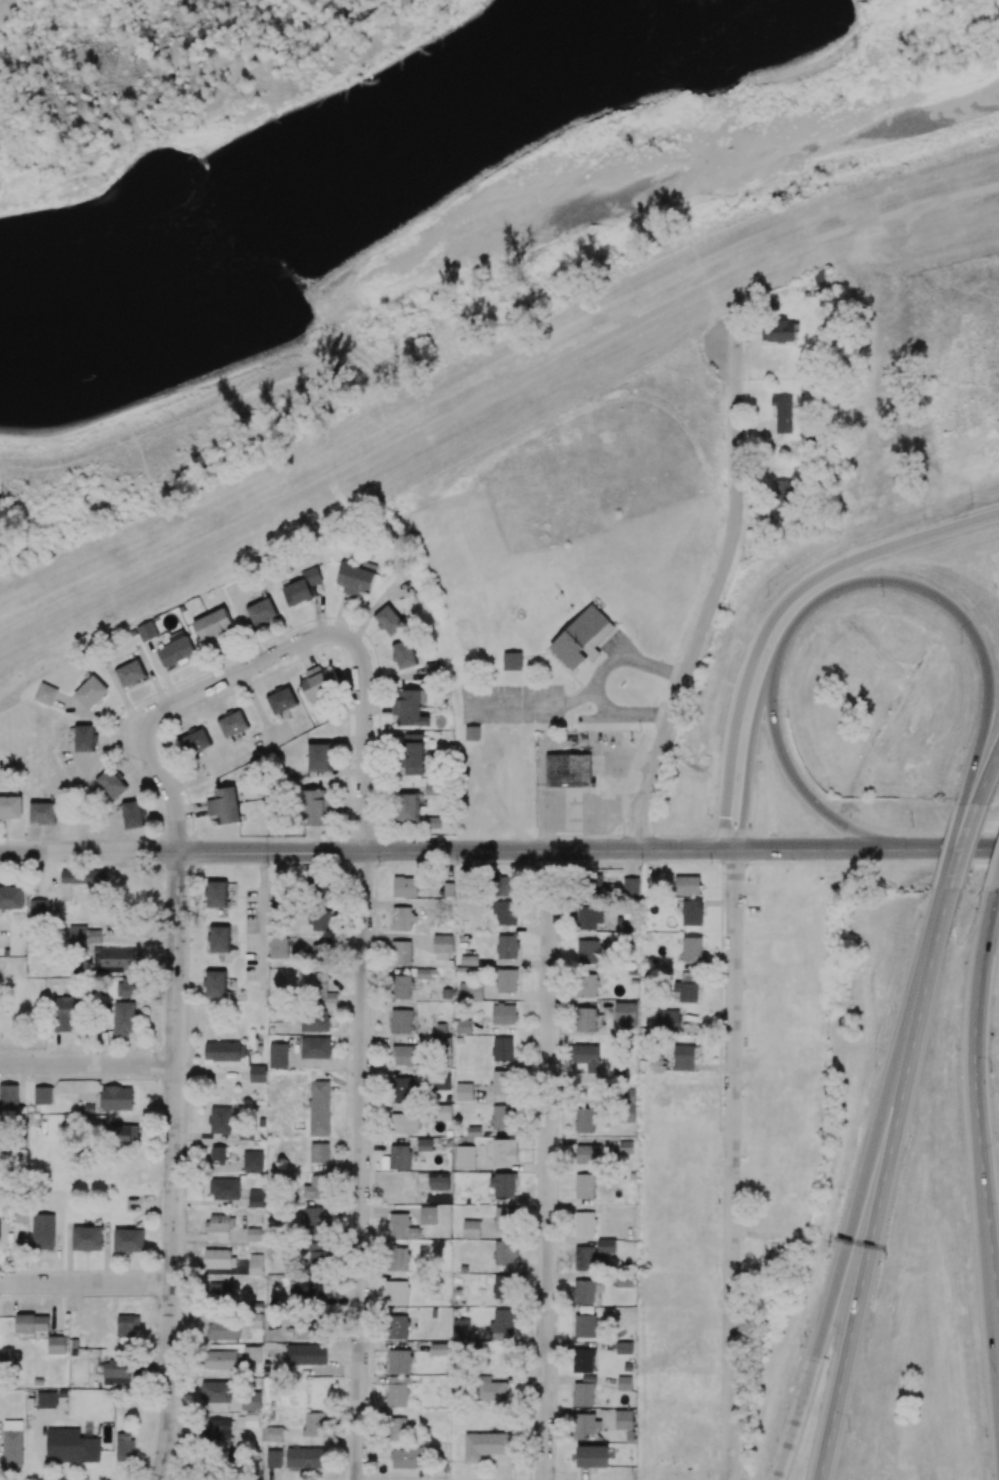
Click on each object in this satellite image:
river: (349, 196)
road: (710, 320)
road: (324, 375)
road: (493, 397)
street lamp: (970, 502)
building: (356, 578)
building: (301, 587)
street lamp: (768, 594)
street lamp: (882, 596)
road: (713, 597)
building: (261, 611)
building: (389, 620)
building: (212, 624)
building: (147, 631)
building: (582, 638)
street lamp: (960, 644)
building: (176, 649)
road: (279, 653)
building: (404, 654)
building: (512, 661)
building: (131, 672)
building: (319, 682)
building: (90, 692)
building: (45, 694)
building: (281, 700)
building: (409, 707)
street lamp: (788, 715)
building: (233, 723)
building: (472, 733)
building: (85, 738)
building: (196, 741)
street lamp: (959, 744)
building: (412, 754)
building: (319, 757)
road: (987, 775)
building: (111, 782)
building: (224, 805)
building: (10, 807)
building: (314, 807)
building: (407, 807)
building: (42, 812)
building: (133, 814)
street lamp: (706, 814)
street lamp: (913, 827)
road: (930, 847)
road: (960, 847)
road: (799, 848)
road: (457, 849)
road: (88, 850)
building: (83, 877)
building: (217, 894)
building: (11, 898)
street lamp: (920, 902)
road: (262, 908)
building: (38, 909)
building: (83, 936)
building: (219, 939)
building: (113, 959)
road: (734, 999)
road: (87, 1064)
street lamp: (874, 1064)
street lamp: (993, 1072)
road: (546, 1164)
road: (174, 1165)
road: (362, 1165)
road: (878, 1183)
street lamp: (837, 1201)
road: (86, 1282)
road: (729, 1315)
street lamp: (799, 1346)
street lamp: (849, 1431)

